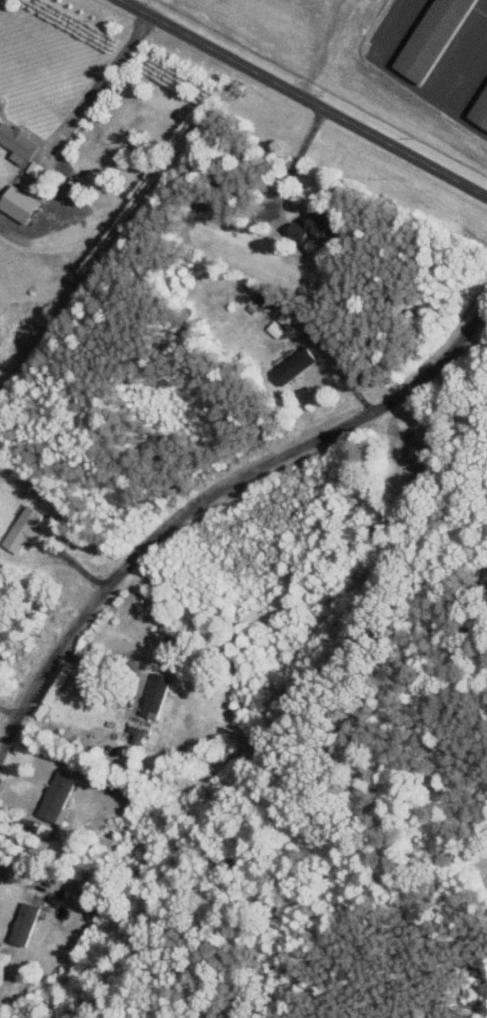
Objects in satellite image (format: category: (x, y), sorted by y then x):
airport taxiway: (385, 22)
building: (431, 37)
airport taxiway: (465, 63)
road: (99, 82)
road: (429, 97)
road: (303, 98)
building: (480, 108)
building: (19, 142)
road: (294, 160)
building: (34, 167)
building: (22, 204)
building: (316, 226)
building: (286, 318)
building: (275, 328)
building: (296, 364)
road: (210, 493)
building: (24, 528)
road: (115, 653)
building: (158, 690)
building: (151, 711)
building: (58, 797)
building: (25, 922)

